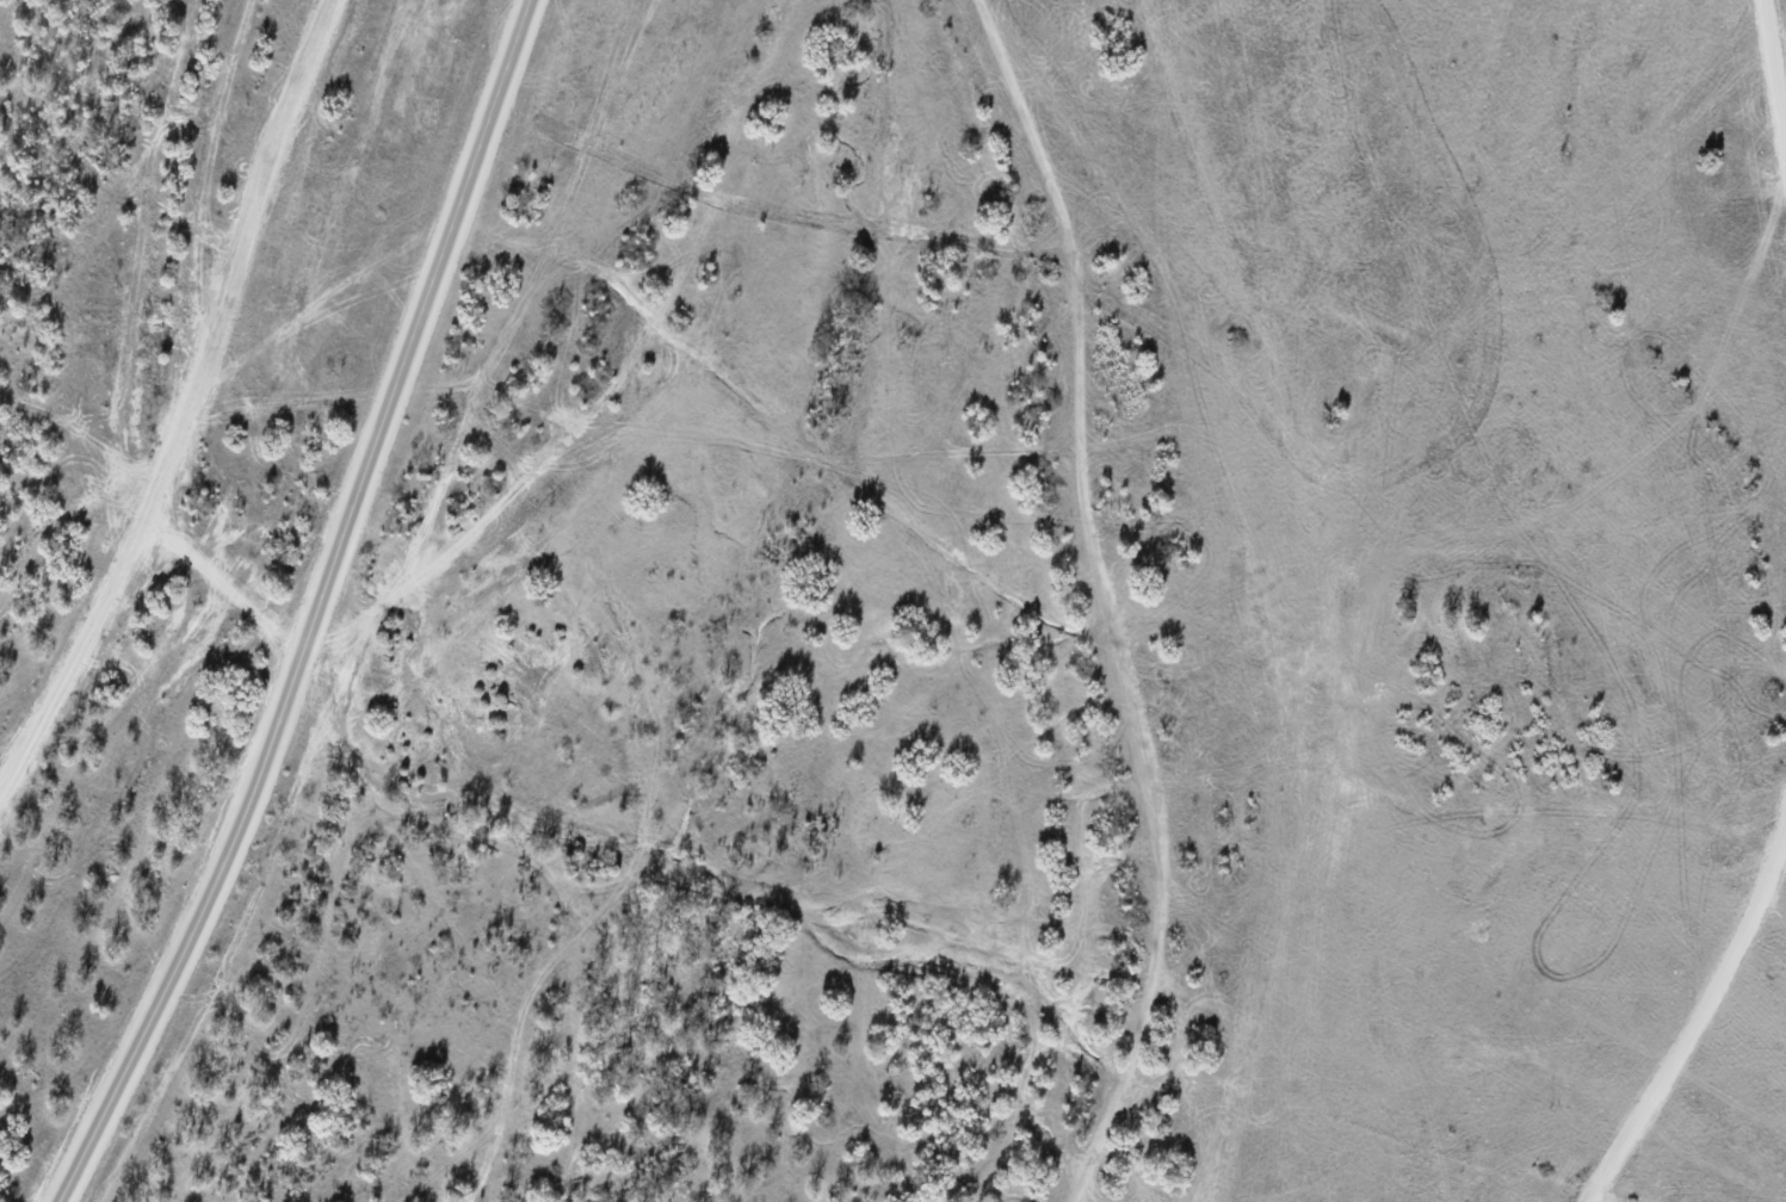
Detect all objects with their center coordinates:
road: (1775, 70)
road: (184, 411)
road: (321, 609)
road: (1698, 1024)

